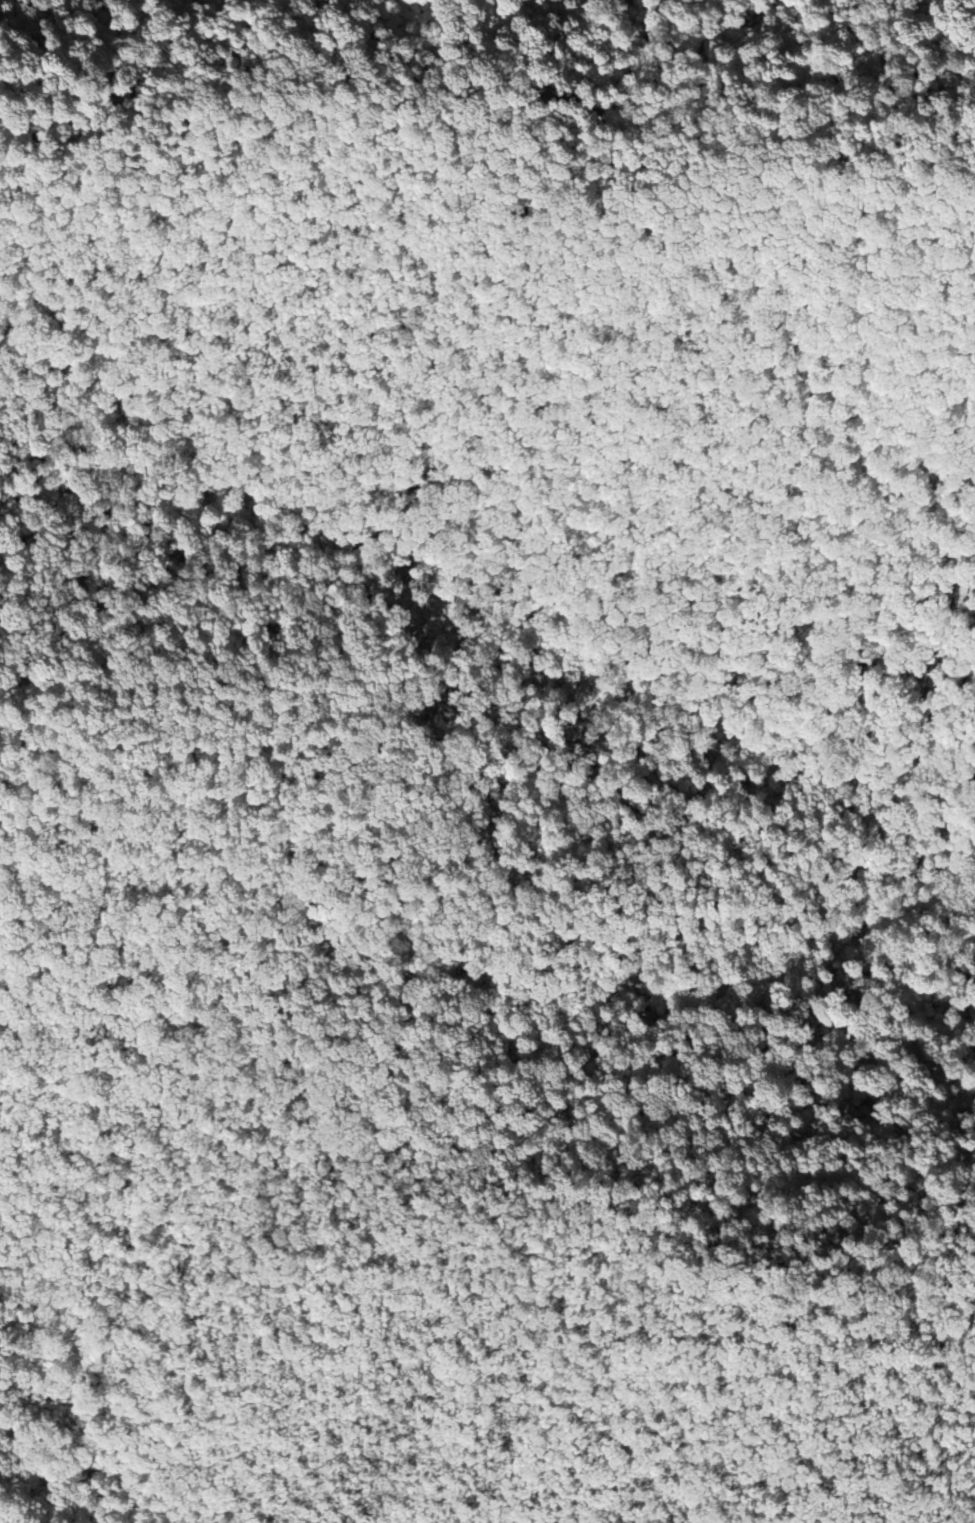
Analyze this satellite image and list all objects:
road: (277, 187)
road: (184, 845)
river: (40, 1480)

